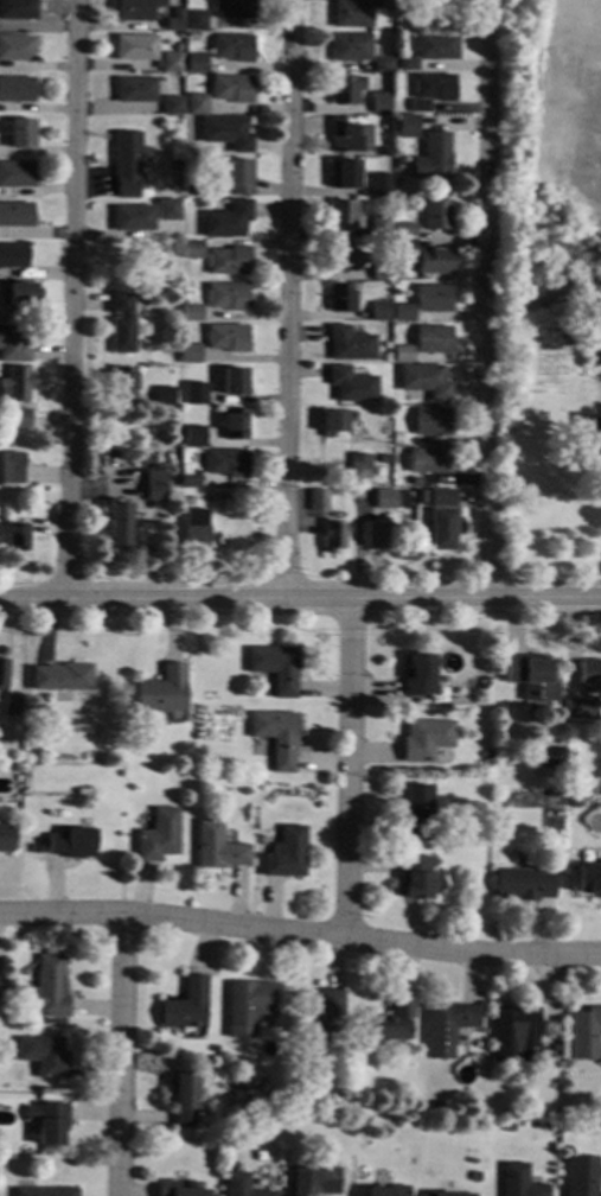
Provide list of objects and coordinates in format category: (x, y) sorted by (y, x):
building: (384, 5)
building: (18, 9)
building: (136, 9)
building: (232, 9)
building: (352, 14)
building: (194, 21)
park: (600, 24)
building: (170, 25)
building: (134, 47)
building: (178, 47)
building: (231, 47)
building: (351, 47)
building: (17, 49)
building: (429, 51)
building: (171, 63)
building: (194, 63)
building: (384, 65)
building: (230, 89)
building: (17, 90)
building: (135, 90)
building: (344, 91)
building: (430, 91)
building: (382, 103)
building: (171, 106)
building: (196, 106)
building: (405, 127)
building: (19, 133)
building: (226, 133)
building: (349, 135)
building: (433, 158)
building: (126, 163)
building: (164, 165)
building: (17, 174)
building: (344, 174)
building: (236, 177)
building: (382, 185)
building: (167, 209)
building: (15, 215)
building: (436, 215)
building: (341, 216)
building: (132, 218)
building: (226, 221)
building: (381, 227)
building: (405, 230)
building: (166, 231)
building: (191, 249)
building: (404, 254)
building: (13, 256)
building: (341, 257)
building: (228, 261)
building: (434, 261)
building: (382, 269)
building: (20, 295)
building: (226, 297)
road: (482, 297)
road: (70, 298)
road: (288, 298)
building: (340, 298)
building: (433, 299)
building: (381, 312)
building: (191, 313)
building: (403, 313)
building: (122, 324)
building: (226, 338)
building: (593, 339)
building: (433, 341)
building: (350, 344)
building: (13, 345)
building: (190, 354)
building: (402, 355)
building: (596, 357)
building: (232, 382)
building: (426, 382)
building: (122, 383)
building: (15, 384)
building: (351, 386)
building: (194, 394)
building: (164, 396)
building: (18, 418)
building: (332, 421)
building: (431, 422)
building: (234, 425)
building: (193, 437)
building: (593, 440)
building: (415, 441)
building: (140, 459)
building: (382, 459)
building: (429, 460)
building: (225, 463)
building: (358, 466)
building: (11, 467)
building: (188, 479)
building: (415, 481)
building: (154, 486)
building: (441, 498)
building: (385, 500)
building: (188, 501)
building: (318, 501)
building: (117, 523)
building: (196, 529)
building: (442, 530)
building: (375, 534)
building: (332, 536)
building: (18, 537)
road: (300, 596)
building: (275, 668)
building: (2, 673)
building: (588, 673)
building: (417, 676)
building: (60, 679)
building: (530, 679)
building: (161, 692)
building: (11, 707)
building: (580, 708)
building: (276, 737)
building: (424, 740)
building: (484, 756)
building: (546, 757)
road: (350, 770)
building: (569, 783)
building: (574, 802)
building: (413, 813)
building: (548, 819)
building: (158, 836)
building: (5, 839)
building: (71, 844)
building: (217, 847)
building: (36, 848)
building: (286, 854)
building: (414, 877)
building: (588, 879)
building: (523, 885)
road: (300, 937)
building: (8, 985)
building: (50, 988)
building: (247, 1004)
building: (185, 1006)
building: (317, 1018)
building: (386, 1023)
building: (446, 1029)
building: (511, 1032)
building: (583, 1033)
building: (213, 1049)
building: (44, 1056)
road: (123, 1056)
building: (551, 1061)
building: (345, 1099)
building: (565, 1099)
building: (184, 1101)
building: (435, 1106)
building: (343, 1109)
building: (50, 1124)
building: (507, 1128)
building: (472, 1160)
building: (580, 1176)
building: (474, 1177)
building: (313, 1182)
building: (518, 1182)
building: (239, 1185)
building: (167, 1187)
building: (386, 1191)
building: (45, 1192)
building: (450, 1195)

